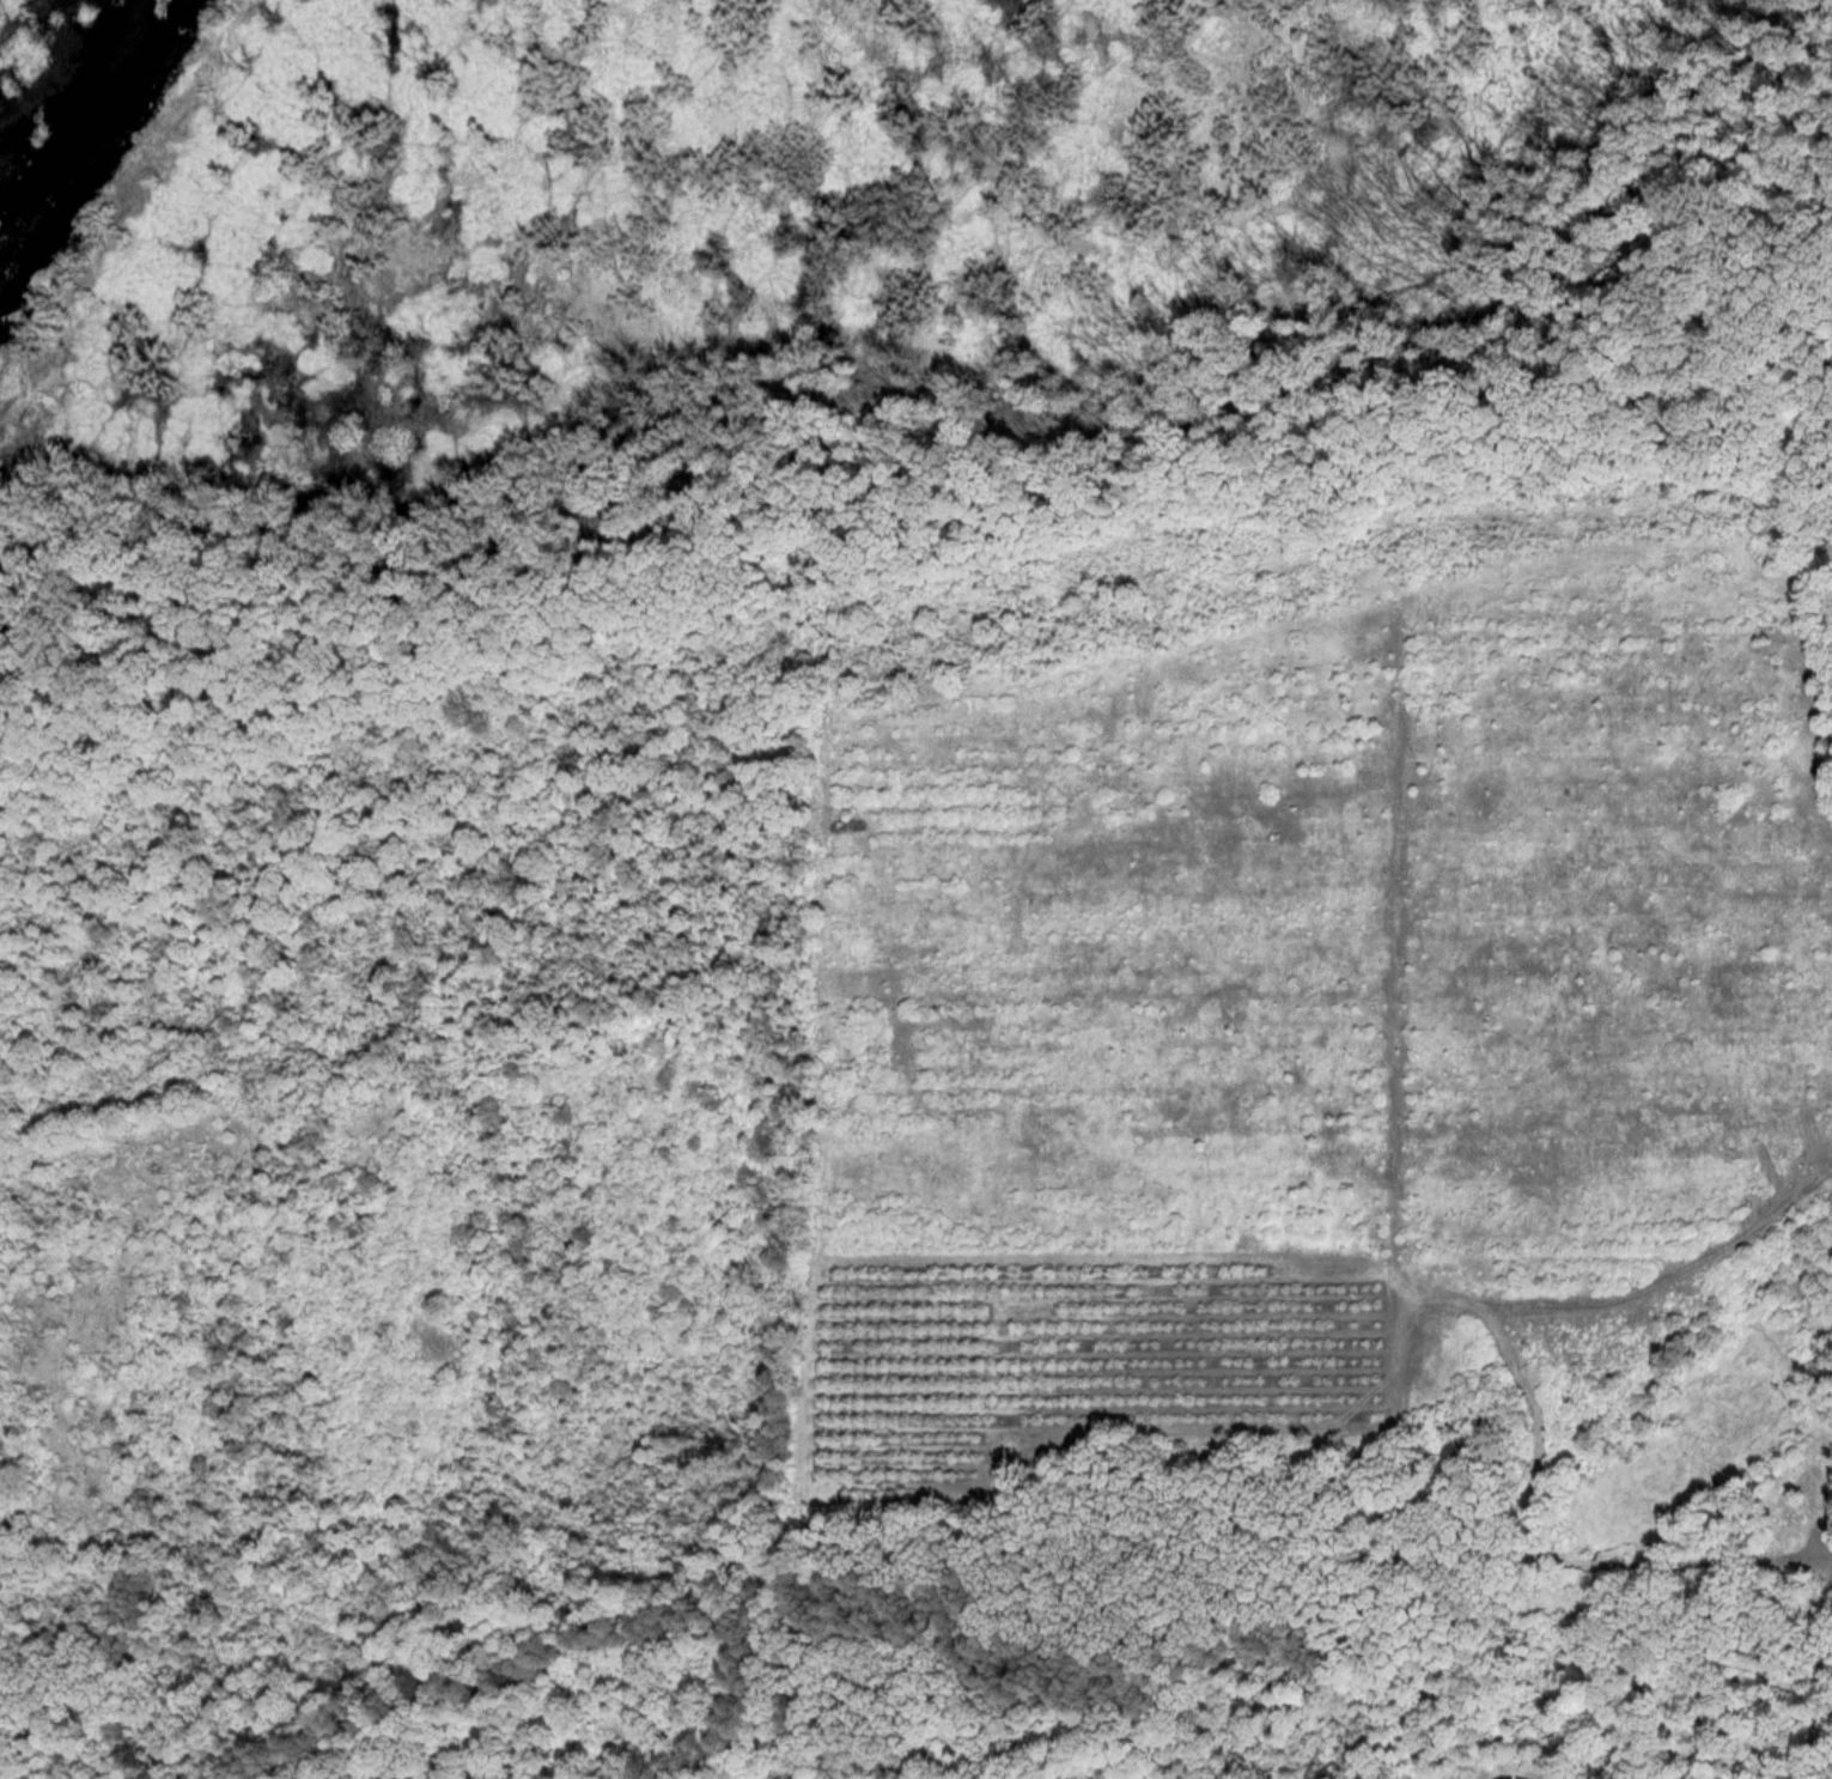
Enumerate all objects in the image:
road: (1814, 1565)

